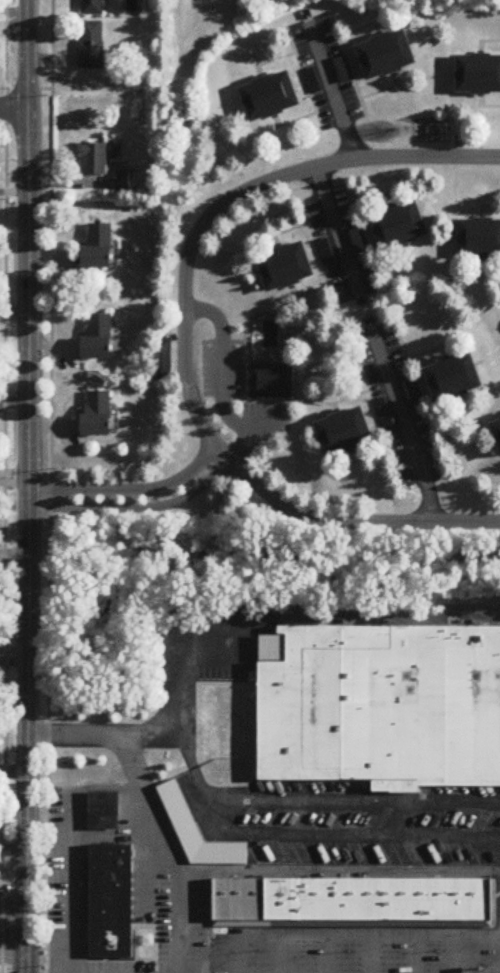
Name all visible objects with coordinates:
building: (92, 8)
building: (92, 47)
building: (387, 56)
park: (153, 67)
building: (478, 75)
road: (331, 91)
building: (271, 97)
road: (14, 110)
building: (94, 160)
building: (122, 181)
road: (227, 201)
building: (400, 226)
road: (336, 234)
building: (479, 240)
building: (99, 248)
building: (286, 268)
building: (98, 338)
road: (221, 367)
building: (455, 379)
building: (270, 383)
building: (98, 416)
road: (403, 426)
building: (497, 430)
building: (346, 434)
road: (253, 436)
road: (219, 465)
road: (3, 486)
road: (27, 486)
road: (50, 486)
road: (350, 522)
road: (273, 615)
road: (206, 655)
road: (214, 685)
building: (381, 707)
road: (138, 737)
building: (104, 813)
road: (212, 813)
building: (197, 833)
road: (171, 857)
road: (345, 871)
road: (71, 881)
building: (112, 895)
building: (239, 900)
building: (278, 900)
building: (391, 900)
road: (494, 908)
road: (201, 924)
building: (352, 924)
road: (352, 924)
road: (351, 937)
road: (155, 943)
road: (136, 950)
building: (112, 952)
road: (283, 955)
road: (327, 955)
road: (371, 955)
road: (414, 955)
road: (459, 955)

